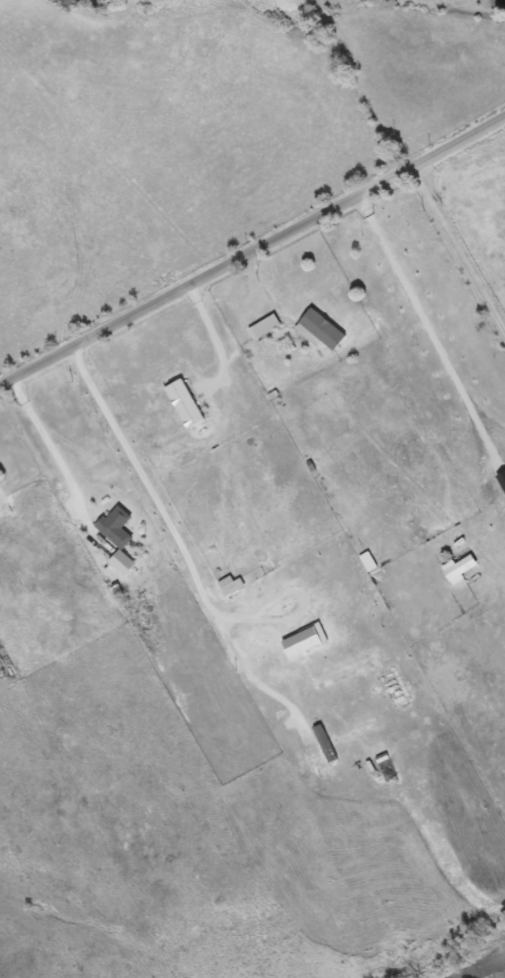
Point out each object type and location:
road: (461, 243)
road: (252, 256)
building: (267, 326)
road: (427, 326)
building: (323, 329)
road: (59, 468)
building: (117, 528)
road: (179, 543)

